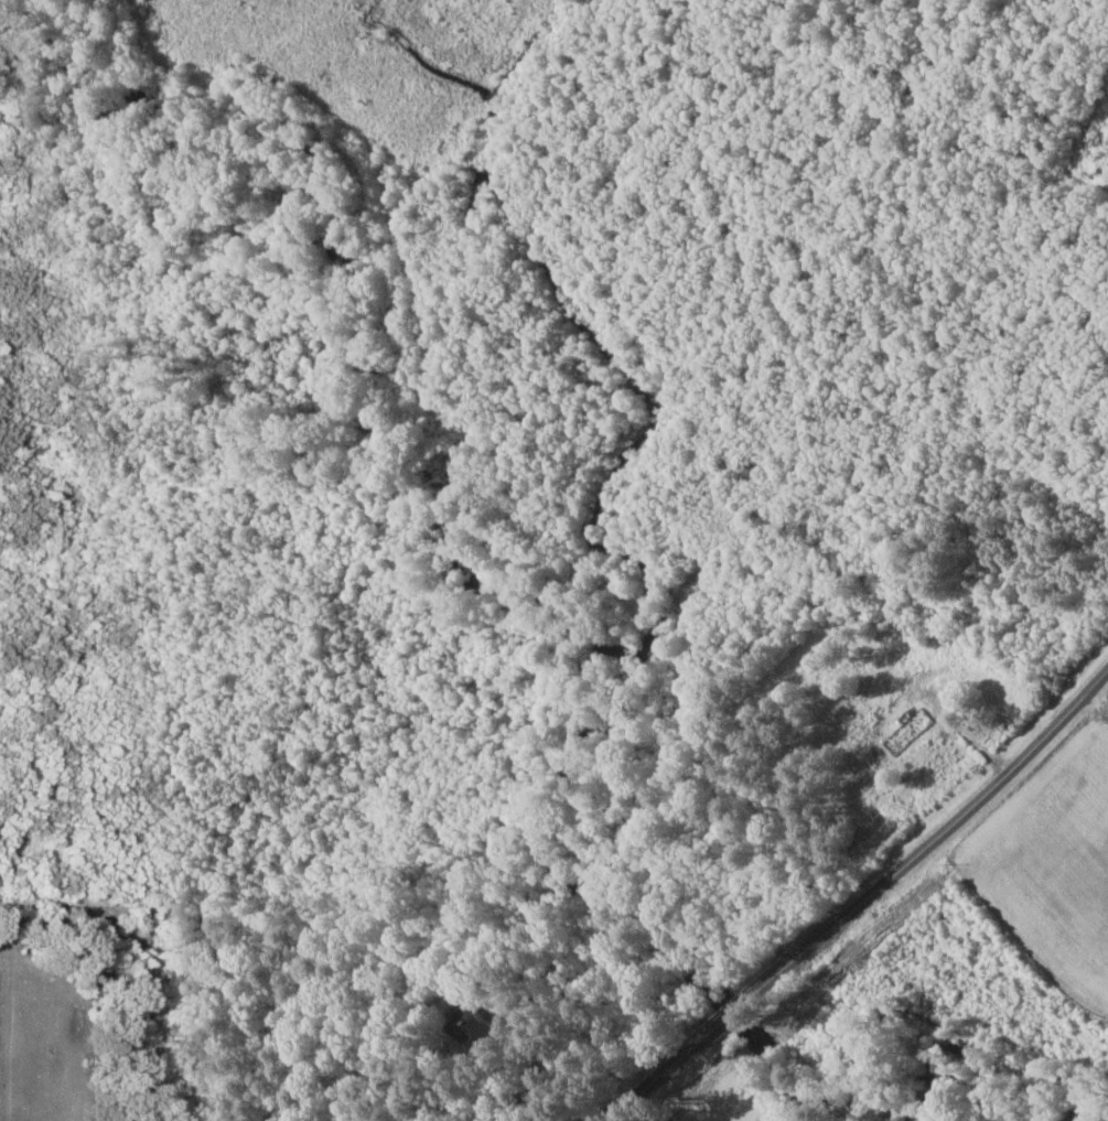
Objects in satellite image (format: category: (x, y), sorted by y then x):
road: (864, 899)
building: (471, 1021)

